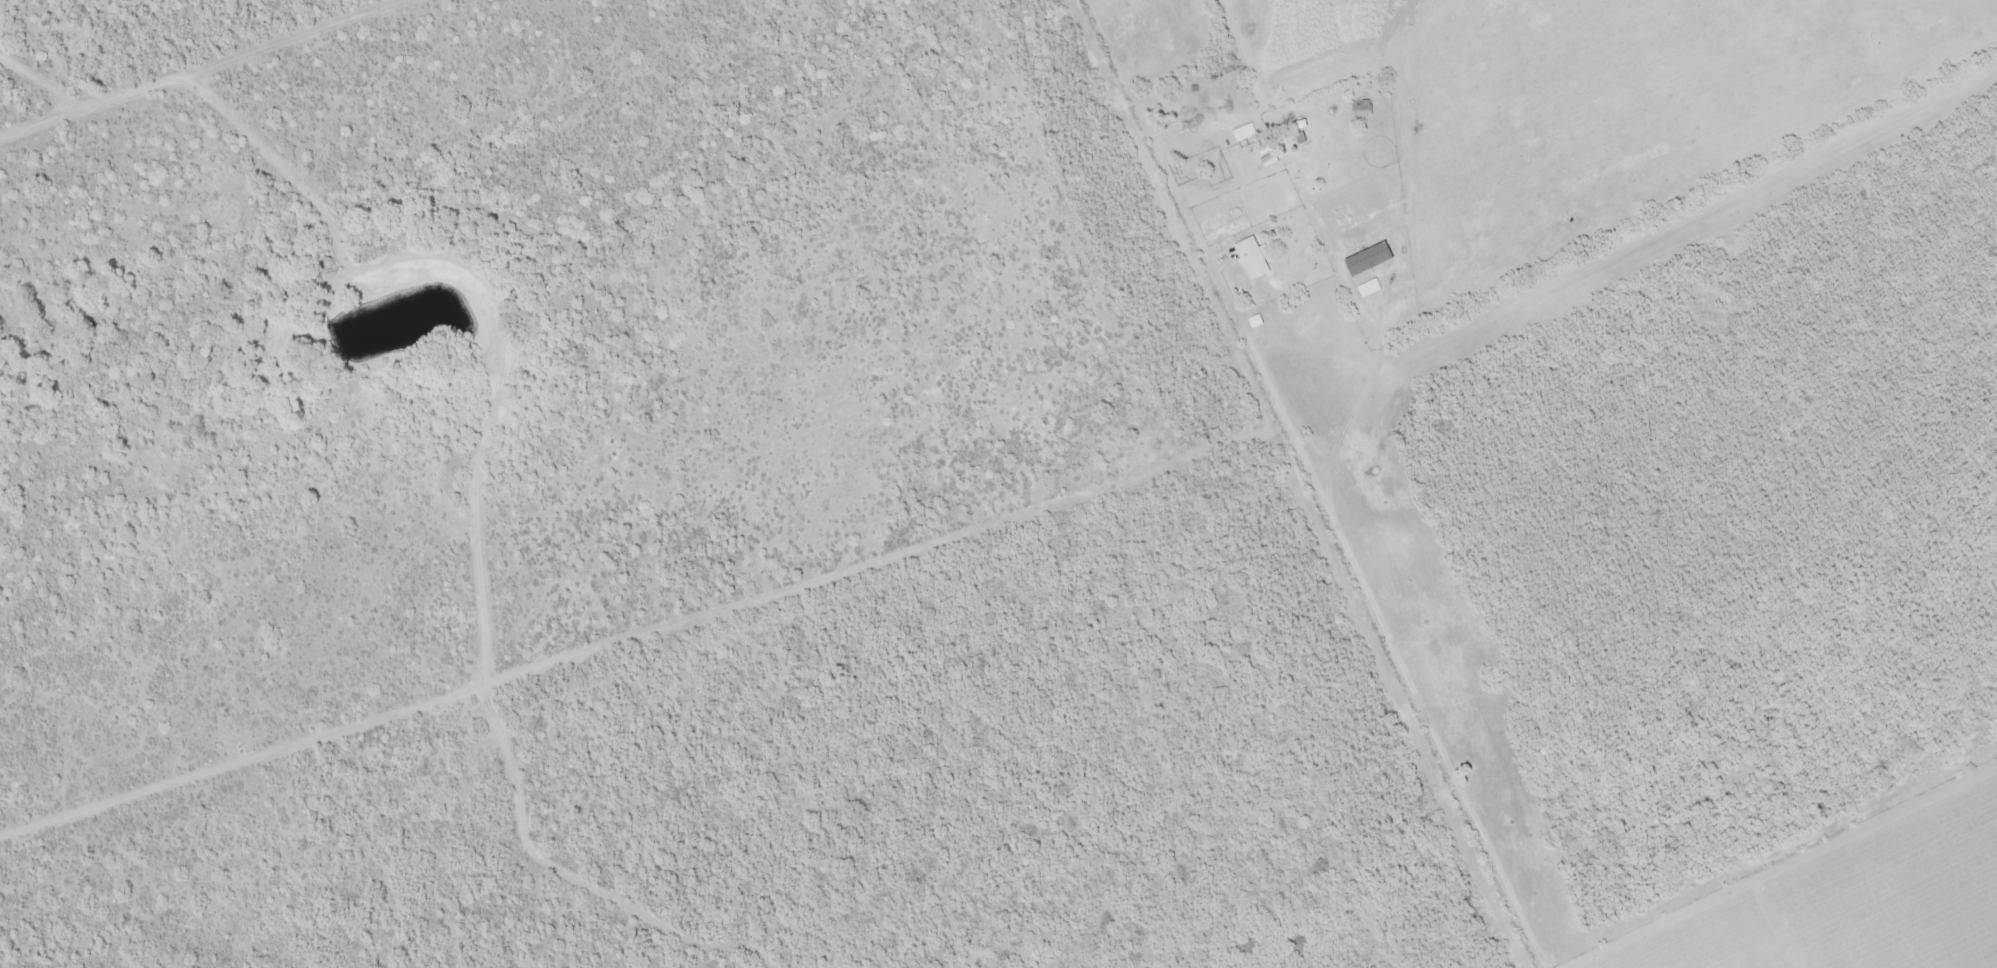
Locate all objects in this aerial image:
building: (1251, 259)
road: (1310, 483)

